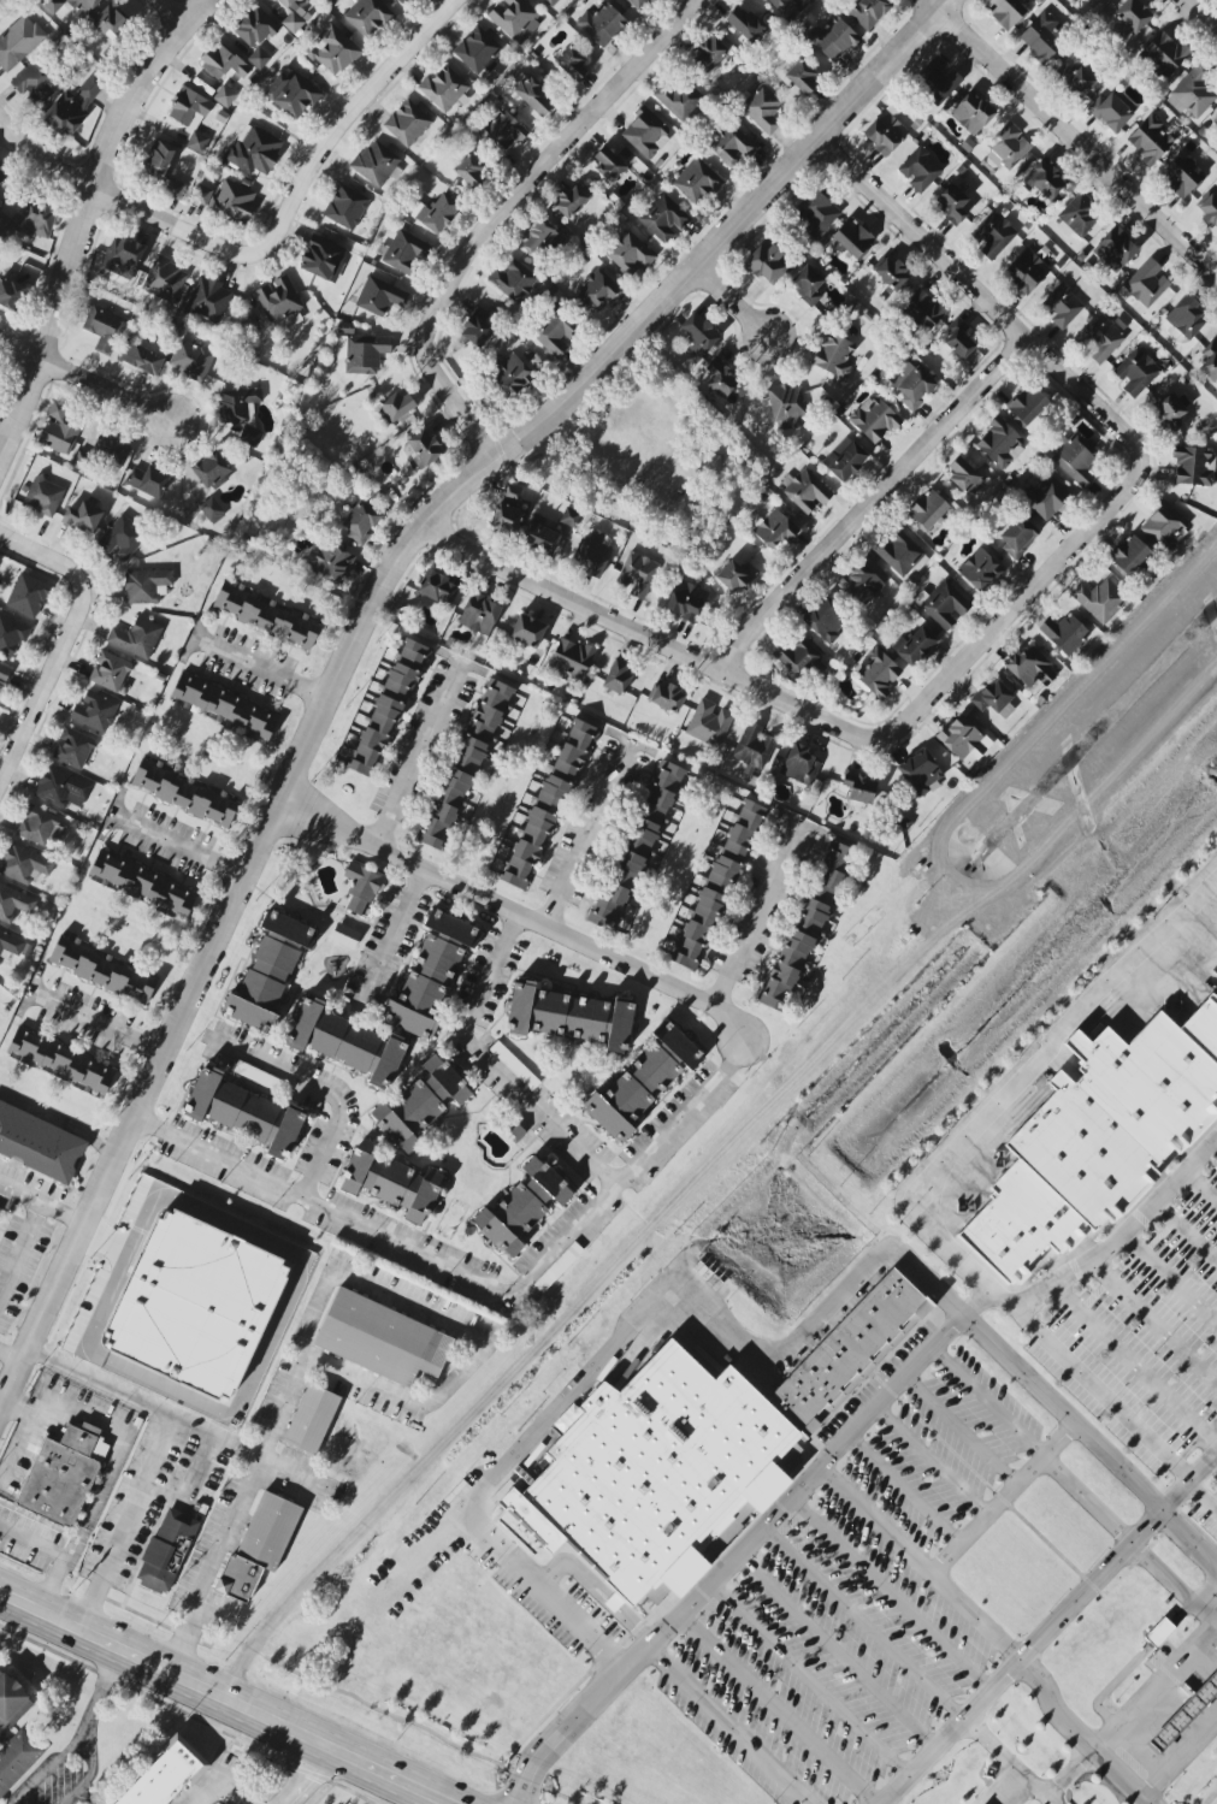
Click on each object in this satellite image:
building: (1100, 0)
building: (406, 1)
building: (550, 2)
building: (638, 2)
building: (71, 5)
building: (788, 5)
road: (182, 12)
building: (868, 12)
building: (1005, 12)
road: (1199, 16)
building: (368, 17)
building: (112, 19)
building: (515, 19)
building: (1129, 19)
building: (602, 23)
building: (746, 24)
building: (254, 28)
building: (1042, 37)
building: (833, 39)
building: (18, 42)
building: (333, 51)
building: (478, 52)
building: (709, 53)
building: (1164, 55)
building: (259, 58)
building: (571, 61)
building: (223, 63)
building: (802, 77)
building: (1075, 77)
building: (938, 79)
building: (35, 83)
building: (444, 88)
building: (1193, 91)
building: (293, 94)
building: (533, 95)
building: (225, 96)
building: (679, 96)
building: (76, 103)
building: (190, 108)
building: (763, 108)
building: (1111, 111)
building: (973, 112)
road: (354, 116)
building: (1215, 117)
building: (407, 123)
building: (501, 132)
building: (885, 132)
building: (645, 134)
road: (1071, 137)
building: (1150, 141)
building: (197, 142)
building: (732, 142)
building: (1008, 148)
building: (253, 150)
building: (159, 159)
building: (377, 164)
building: (608, 164)
building: (920, 170)
building: (471, 171)
building: (2, 176)
building: (1180, 177)
building: (1046, 179)
building: (697, 181)
building: (175, 189)
building: (201, 195)
building: (571, 201)
building: (232, 202)
building: (951, 203)
building: (345, 207)
road: (507, 207)
road: (125, 208)
building: (1209, 211)
building: (436, 213)
building: (816, 214)
building: (663, 218)
building: (36, 219)
road: (84, 219)
building: (4, 223)
building: (993, 235)
building: (538, 238)
building: (853, 238)
building: (1115, 250)
building: (406, 253)
building: (630, 253)
building: (123, 258)
building: (323, 259)
building: (764, 261)
building: (1027, 271)
building: (888, 273)
building: (165, 279)
building: (512, 279)
building: (808, 285)
building: (1146, 285)
building: (13, 290)
building: (596, 290)
building: (379, 296)
building: (208, 301)
building: (280, 302)
road: (733, 306)
building: (1063, 306)
building: (924, 309)
building: (1186, 318)
building: (478, 326)
building: (104, 327)
building: (556, 331)
building: (698, 332)
building: (1099, 338)
building: (958, 339)
road: (20, 353)
building: (362, 353)
building: (833, 354)
building: (141, 359)
building: (191, 360)
building: (1210, 361)
building: (1135, 371)
building: (510, 375)
building: (721, 378)
building: (911, 384)
road: (107, 392)
building: (398, 406)
building: (1028, 406)
building: (787, 407)
building: (58, 410)
building: (242, 412)
building: (1169, 412)
building: (874, 419)
road: (690, 426)
building: (59, 437)
building: (1000, 443)
building: (423, 449)
building: (104, 453)
park: (648, 457)
building: (1075, 459)
building: (845, 460)
building: (1194, 466)
building: (212, 469)
building: (963, 477)
building: (148, 481)
building: (805, 490)
building: (513, 492)
building: (43, 497)
building: (1046, 497)
road: (868, 501)
building: (928, 509)
building: (212, 510)
building: (571, 516)
building: (83, 517)
building: (506, 519)
building: (361, 521)
building: (1164, 526)
building: (775, 530)
building: (1018, 536)
building: (122, 538)
building: (539, 538)
building: (592, 551)
building: (900, 554)
building: (1130, 555)
road: (42, 560)
building: (329, 563)
building: (980, 569)
building: (638, 574)
building: (735, 575)
building: (862, 584)
building: (147, 586)
building: (438, 588)
building: (28, 596)
building: (1099, 599)
building: (686, 601)
building: (943, 604)
building: (266, 615)
building: (479, 616)
building: (827, 619)
road: (997, 621)
road: (362, 623)
building: (527, 631)
building: (1065, 633)
building: (12, 634)
building: (136, 638)
building: (916, 646)
building: (799, 657)
building: (571, 658)
road: (260, 668)
building: (1029, 668)
building: (110, 672)
building: (4, 673)
building: (879, 673)
building: (619, 678)
road: (47, 690)
building: (666, 697)
building: (994, 698)
building: (224, 705)
building: (388, 709)
building: (94, 712)
building: (709, 723)
building: (484, 724)
building: (963, 739)
building: (755, 745)
building: (73, 747)
road: (421, 756)
building: (799, 764)
building: (921, 773)
building: (859, 787)
building: (61, 788)
building: (185, 793)
building: (662, 793)
building: (548, 806)
building: (444, 808)
building: (40, 826)
road: (585, 838)
road: (178, 845)
building: (24, 864)
building: (625, 875)
building: (143, 885)
building: (362, 887)
building: (717, 888)
building: (13, 904)
road: (515, 916)
road: (757, 917)
building: (453, 928)
building: (288, 930)
building: (804, 931)
building: (344, 935)
road: (390, 940)
building: (13, 946)
building: (101, 970)
building: (262, 986)
building: (424, 989)
building: (571, 1017)
road: (91, 1022)
building: (345, 1042)
building: (60, 1060)
road: (491, 1066)
building: (514, 1066)
building: (258, 1076)
road: (1022, 1076)
building: (643, 1082)
road: (317, 1090)
building: (421, 1104)
building: (244, 1112)
road: (60, 1120)
building: (1087, 1136)
road: (1216, 1141)
building: (39, 1144)
building: (391, 1182)
road: (1200, 1187)
road: (42, 1206)
building: (522, 1207)
road: (1142, 1209)
road: (1186, 1230)
road: (19, 1248)
building: (557, 1267)
road: (1169, 1273)
road: (477, 1282)
road: (324, 1291)
parking lot: (1144, 1301)
building: (196, 1305)
road: (1152, 1319)
road: (621, 1336)
building: (382, 1339)
road: (1044, 1341)
building: (845, 1354)
road: (10, 1360)
road: (1136, 1362)
road: (252, 1379)
road: (985, 1398)
road: (69, 1406)
building: (312, 1420)
road: (1089, 1444)
road: (154, 1454)
road: (1165, 1462)
building: (658, 1468)
building: (1216, 1471)
road: (194, 1472)
building: (64, 1474)
road: (289, 1477)
road: (1199, 1498)
road: (91, 1506)
road: (872, 1519)
parking lot: (1209, 1521)
road: (749, 1530)
building: (270, 1531)
road: (34, 1536)
road: (957, 1543)
building: (164, 1550)
building: (178, 1554)
road: (52, 1581)
parking lot: (520, 1581)
road: (1170, 1585)
road: (887, 1590)
parking lot: (866, 1607)
road: (1215, 1625)
building: (1159, 1633)
road: (1028, 1644)
road: (829, 1649)
road: (100, 1688)
road: (221, 1698)
building: (1182, 1709)
gas station: (1182, 1709)
road: (1132, 1717)
road: (969, 1721)
road: (727, 1722)
building: (14, 1734)
road: (1075, 1737)
road: (81, 1738)
road: (1008, 1762)
road: (1180, 1762)
building: (163, 1778)
road: (308, 1778)
road: (214, 1786)
road: (996, 1786)
road: (874, 1802)

